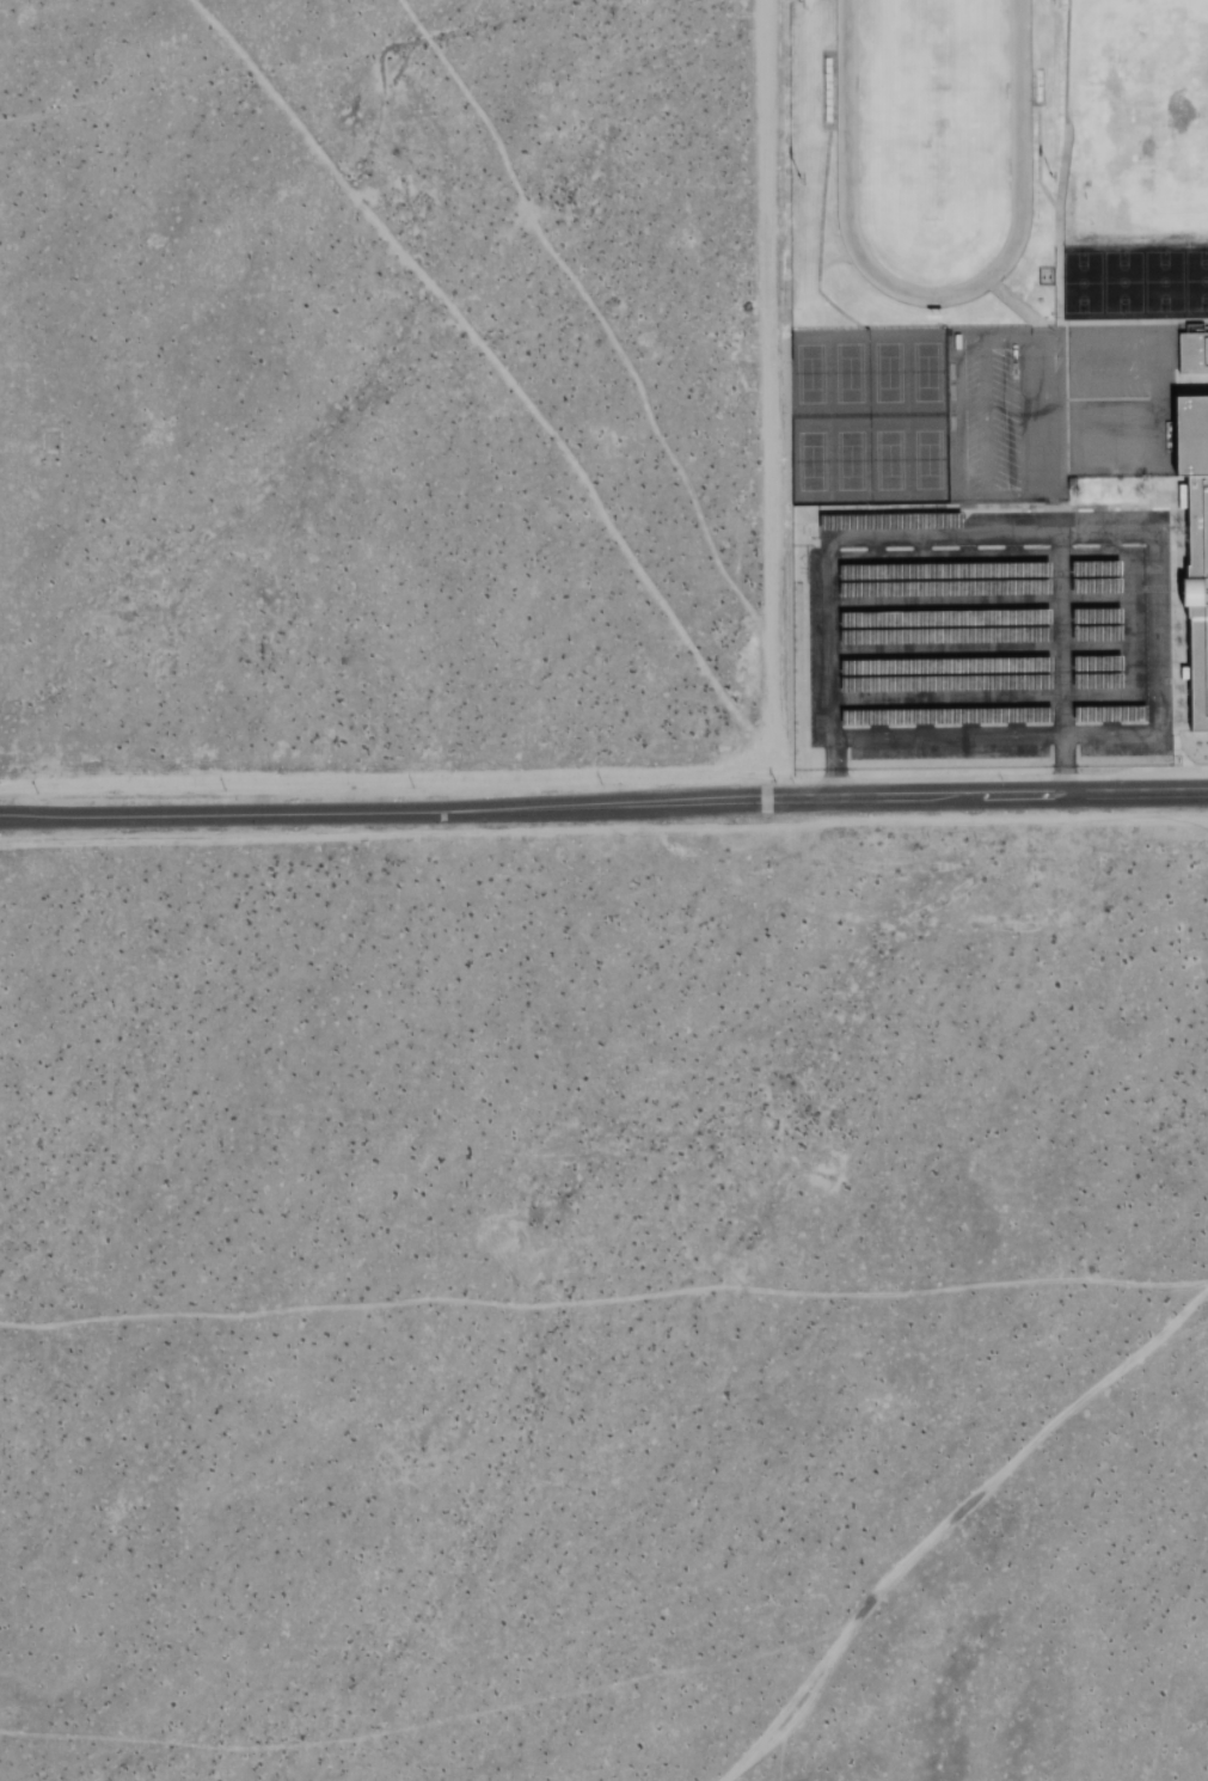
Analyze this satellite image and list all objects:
park: (979, 149)
building: (1194, 353)
park: (861, 412)
road: (1157, 531)
building: (1197, 550)
road: (977, 557)
road: (977, 602)
road: (1128, 625)
road: (1057, 629)
road: (979, 650)
road: (980, 698)
road: (832, 738)
road: (1062, 764)
road: (834, 767)
road: (603, 803)

